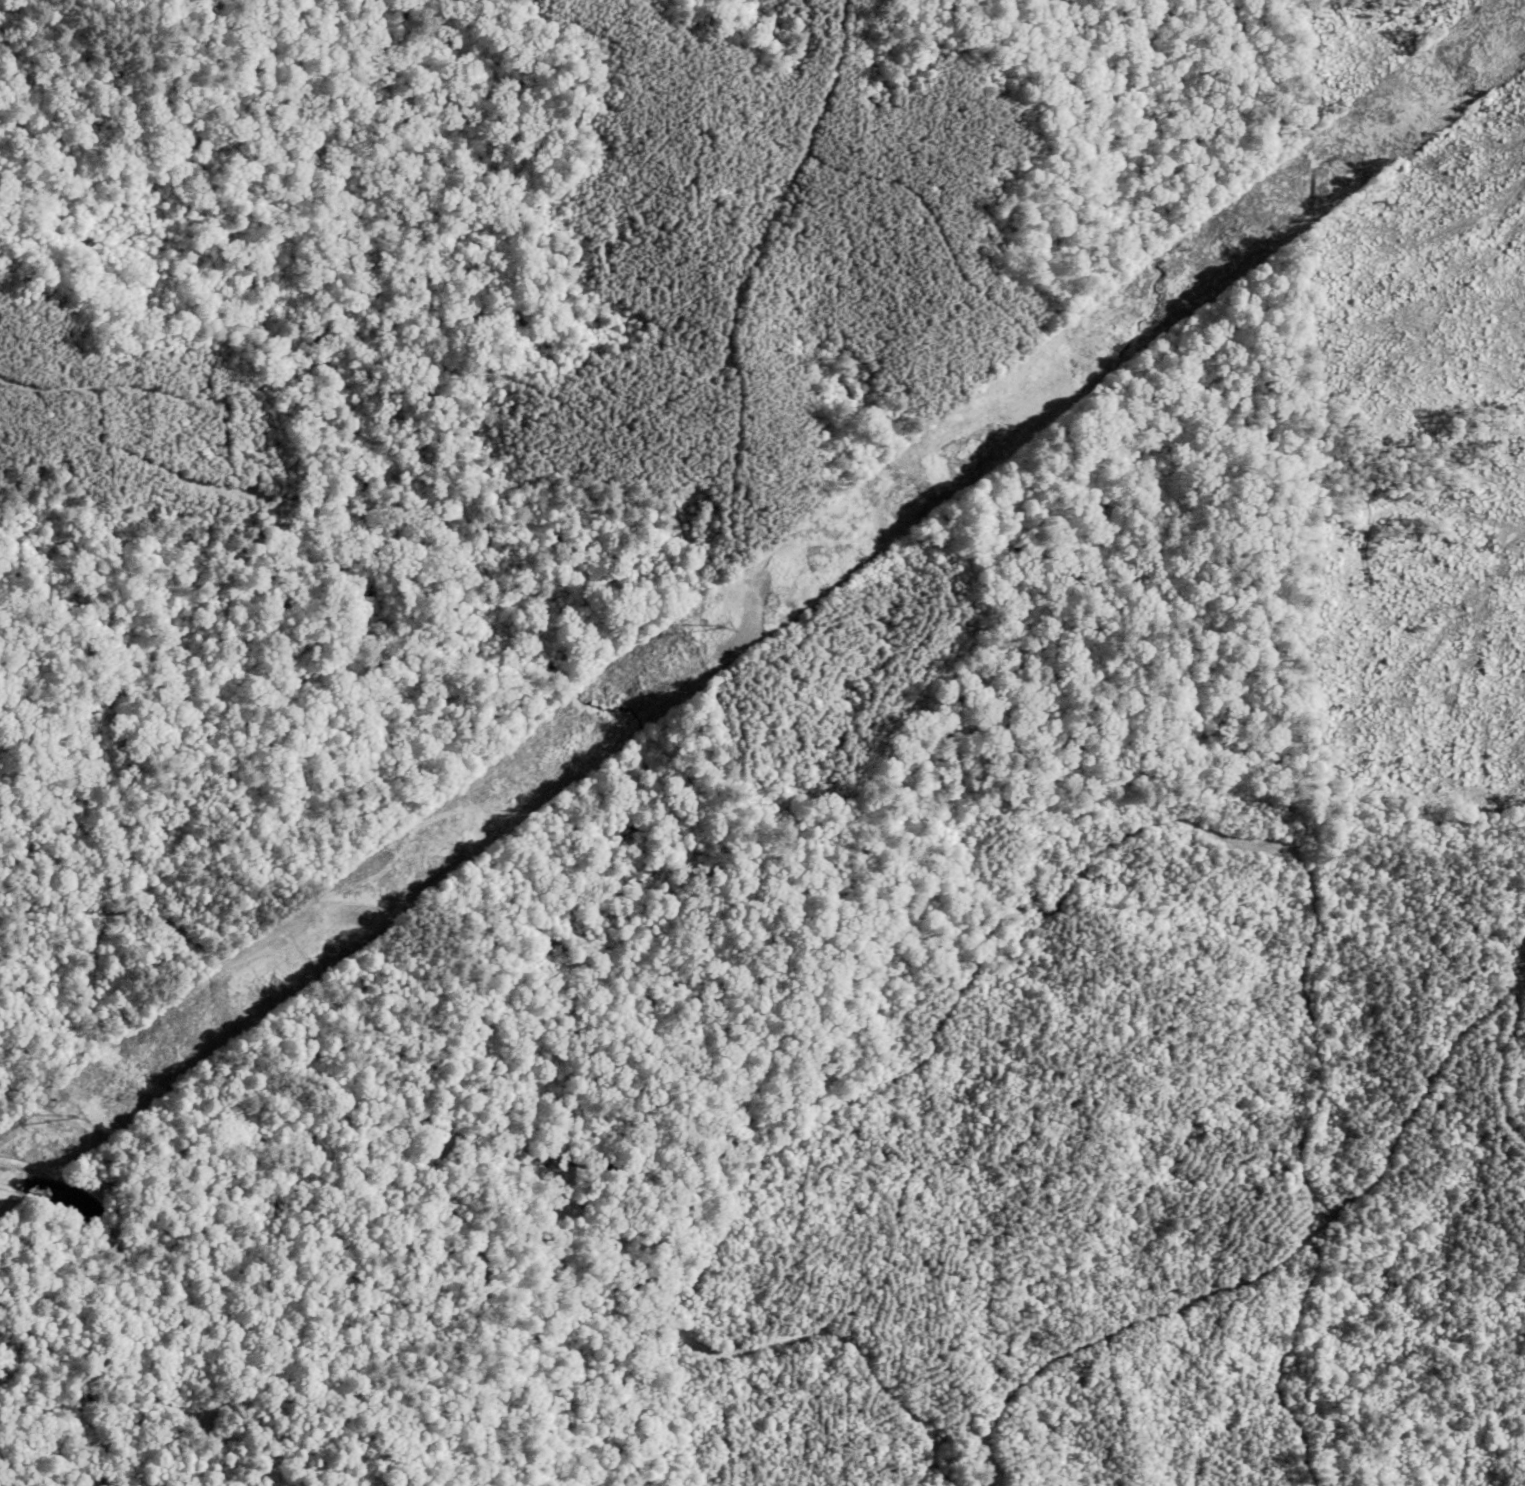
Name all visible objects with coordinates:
power tower: (722, 626)
power tower: (75, 1116)

